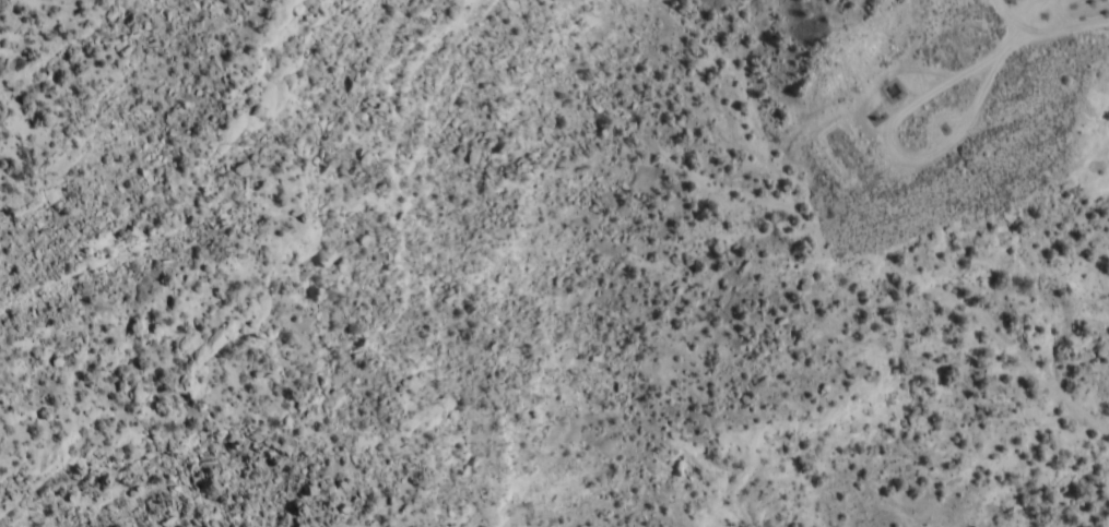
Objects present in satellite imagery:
road: (1022, 8)
road: (1058, 21)
road: (1017, 27)
road: (905, 154)

